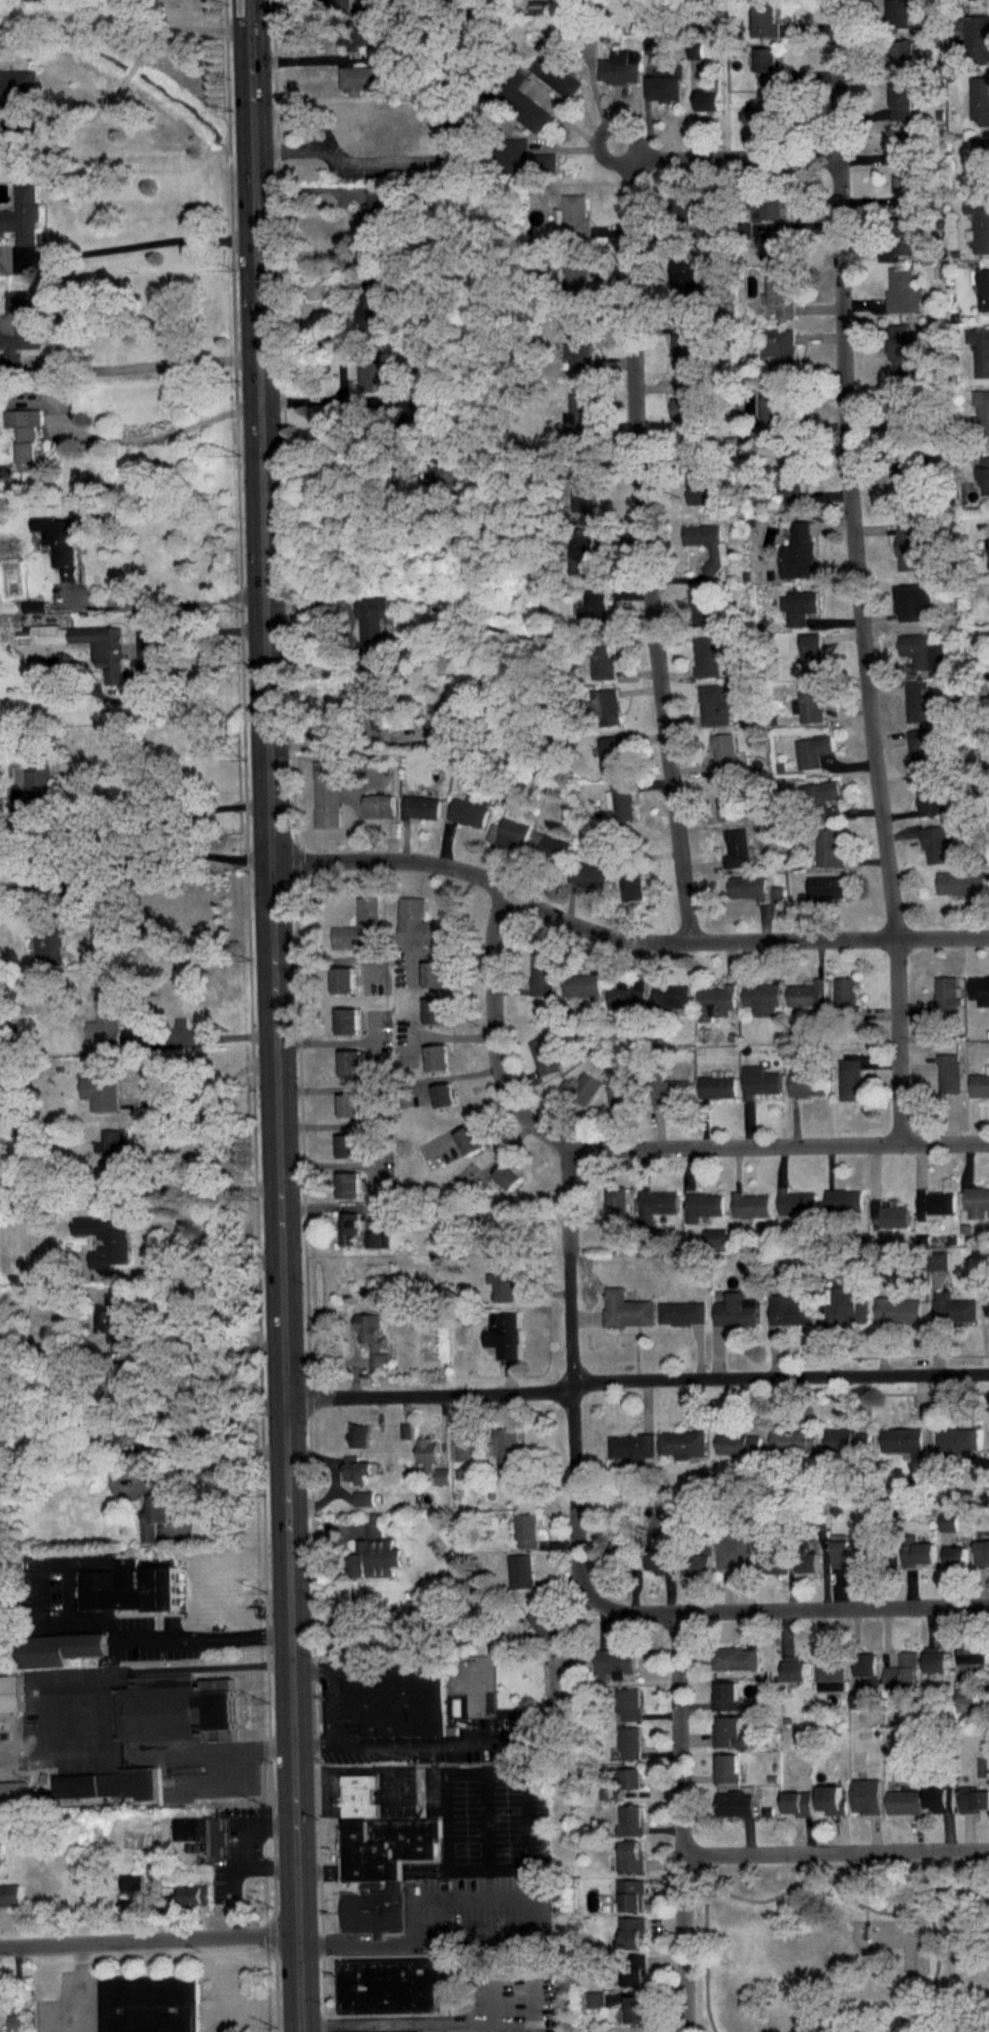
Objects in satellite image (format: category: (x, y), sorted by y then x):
road: (697, 4)
building: (539, 6)
building: (900, 12)
building: (699, 18)
building: (767, 18)
building: (571, 24)
road: (184, 25)
building: (361, 33)
building: (977, 36)
building: (654, 43)
building: (696, 49)
building: (904, 53)
building: (770, 64)
building: (620, 66)
building: (555, 67)
road: (130, 69)
building: (362, 78)
building: (668, 82)
building: (16, 90)
building: (517, 97)
building: (980, 98)
building: (711, 99)
building: (905, 99)
building: (765, 109)
road: (80, 119)
building: (906, 147)
road: (629, 149)
road: (729, 157)
building: (521, 158)
building: (981, 162)
building: (908, 191)
building: (768, 202)
building: (374, 210)
building: (681, 211)
building: (23, 213)
building: (576, 217)
building: (980, 224)
building: (906, 234)
building: (776, 244)
road: (126, 245)
building: (576, 275)
road: (308, 279)
building: (688, 280)
building: (984, 287)
building: (904, 289)
building: (781, 293)
building: (372, 311)
building: (20, 328)
building: (690, 344)
building: (580, 345)
building: (781, 348)
building: (981, 348)
building: (902, 351)
road: (141, 365)
building: (375, 375)
road: (331, 399)
building: (430, 405)
building: (774, 409)
building: (983, 411)
building: (907, 412)
building: (581, 413)
building: (689, 417)
building: (25, 431)
road: (131, 439)
building: (985, 475)
building: (449, 476)
building: (699, 476)
building: (793, 478)
building: (908, 480)
building: (583, 485)
road: (350, 498)
building: (59, 539)
building: (988, 539)
building: (709, 541)
building: (911, 544)
building: (586, 547)
building: (799, 549)
road: (647, 552)
road: (856, 572)
building: (912, 596)
building: (35, 602)
building: (799, 603)
building: (700, 604)
road: (157, 605)
building: (594, 609)
building: (373, 625)
building: (109, 648)
building: (811, 649)
building: (923, 649)
building: (706, 654)
building: (602, 659)
road: (139, 660)
building: (920, 698)
building: (809, 700)
building: (715, 702)
building: (605, 704)
building: (444, 713)
road: (357, 743)
building: (812, 748)
building: (920, 748)
building: (723, 749)
building: (610, 750)
building: (40, 777)
building: (326, 790)
building: (730, 795)
building: (930, 795)
building: (822, 797)
building: (620, 801)
building: (419, 803)
building: (379, 805)
building: (468, 808)
road: (44, 817)
road: (141, 820)
building: (7, 826)
building: (508, 830)
building: (935, 844)
building: (549, 845)
building: (737, 845)
building: (829, 845)
road: (159, 847)
building: (589, 875)
building: (961, 880)
building: (825, 884)
building: (632, 885)
building: (747, 886)
building: (777, 893)
building: (47, 918)
building: (361, 923)
building: (419, 924)
road: (621, 936)
building: (435, 971)
building: (344, 976)
building: (541, 976)
building: (581, 982)
building: (979, 983)
building: (761, 991)
building: (806, 991)
building: (671, 993)
building: (947, 994)
building: (625, 995)
building: (716, 995)
building: (846, 997)
building: (435, 1007)
building: (107, 1010)
road: (274, 1016)
building: (348, 1017)
road: (198, 1034)
building: (438, 1054)
building: (544, 1055)
building: (351, 1059)
building: (949, 1072)
building: (850, 1075)
building: (759, 1078)
building: (807, 1081)
building: (979, 1081)
building: (101, 1082)
building: (717, 1083)
building: (580, 1087)
building: (619, 1089)
road: (200, 1090)
building: (670, 1091)
building: (444, 1094)
building: (349, 1105)
building: (470, 1139)
building: (347, 1145)
road: (630, 1147)
building: (115, 1149)
building: (509, 1175)
road: (196, 1183)
building: (349, 1184)
building: (843, 1199)
building: (795, 1201)
building: (976, 1201)
building: (935, 1202)
building: (656, 1204)
building: (750, 1204)
building: (615, 1205)
building: (702, 1205)
building: (890, 1214)
road: (157, 1227)
building: (348, 1227)
building: (715, 1236)
building: (106, 1238)
building: (376, 1239)
road: (194, 1252)
building: (941, 1259)
building: (503, 1279)
building: (955, 1304)
building: (626, 1305)
building: (847, 1305)
building: (987, 1306)
building: (736, 1307)
building: (789, 1307)
building: (899, 1307)
building: (683, 1309)
building: (119, 1313)
building: (503, 1334)
building: (373, 1338)
road: (179, 1354)
road: (569, 1376)
road: (636, 1379)
building: (138, 1397)
road: (204, 1430)
building: (406, 1430)
building: (359, 1435)
building: (113, 1439)
building: (683, 1440)
building: (794, 1440)
building: (849, 1440)
building: (904, 1440)
building: (958, 1440)
building: (739, 1443)
building: (633, 1445)
building: (506, 1448)
building: (463, 1450)
building: (428, 1451)
building: (359, 1468)
building: (442, 1475)
building: (364, 1498)
building: (156, 1513)
building: (948, 1521)
building: (373, 1528)
building: (527, 1530)
building: (734, 1550)
building: (622, 1552)
building: (982, 1552)
building: (918, 1554)
building: (956, 1556)
building: (374, 1557)
building: (658, 1560)
building: (772, 1560)
building: (809, 1561)
building: (697, 1563)
building: (520, 1570)
building: (131, 1582)
road: (790, 1612)
road: (94, 1621)
building: (543, 1623)
building: (61, 1645)
building: (974, 1652)
building: (735, 1657)
building: (936, 1659)
building: (613, 1663)
building: (795, 1668)
building: (869, 1668)
building: (831, 1669)
building: (903, 1670)
building: (11, 1691)
building: (396, 1694)
building: (726, 1696)
building: (857, 1698)
building: (966, 1699)
building: (630, 1704)
building: (176, 1705)
road: (328, 1705)
building: (729, 1732)
building: (630, 1742)
building: (727, 1768)
building: (632, 1778)
building: (110, 1780)
building: (13, 1789)
building: (360, 1791)
road: (527, 1791)
building: (867, 1795)
building: (974, 1798)
building: (832, 1799)
building: (941, 1799)
building: (904, 1801)
building: (799, 1802)
building: (734, 1803)
building: (632, 1821)
road: (681, 1823)
building: (202, 1832)
building: (0, 1851)
road: (835, 1852)
building: (630, 1856)
road: (321, 1866)
road: (375, 1866)
building: (383, 1866)
building: (130, 1881)
road: (798, 1887)
building: (9, 1891)
building: (196, 1892)
building: (631, 1894)
building: (631, 1931)
road: (512, 1935)
road: (148, 1939)
park: (840, 1946)
road: (934, 1946)
road: (704, 1953)
building: (635, 1970)
building: (395, 1980)
road: (77, 1989)
building: (6, 1990)
building: (594, 1999)
building: (149, 2002)
building: (635, 2008)
building: (15, 2022)
building: (377, 2031)

